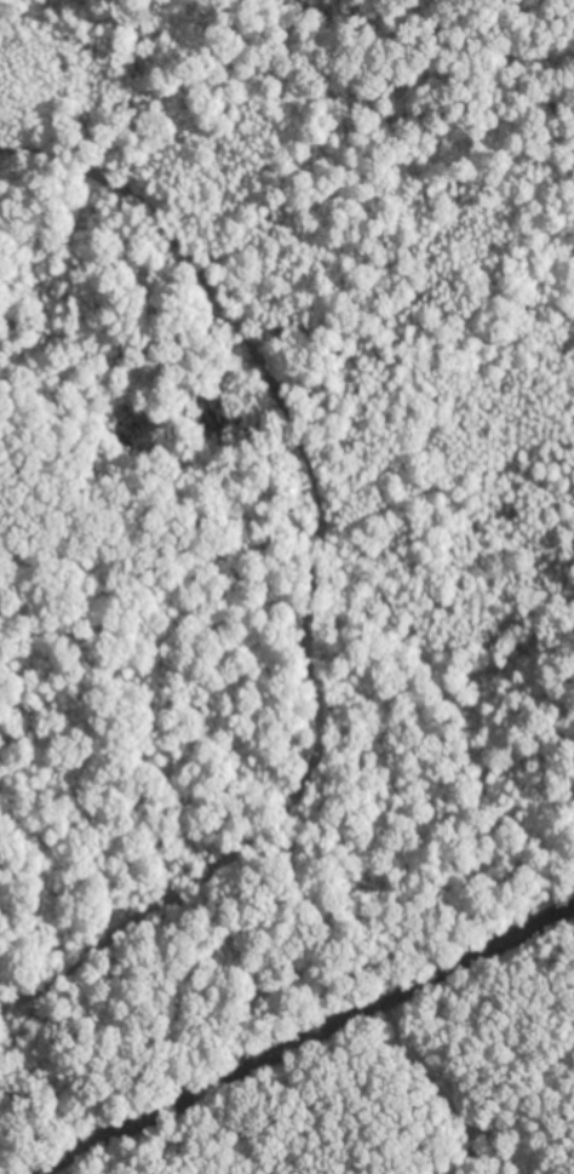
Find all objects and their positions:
road: (305, 1041)

